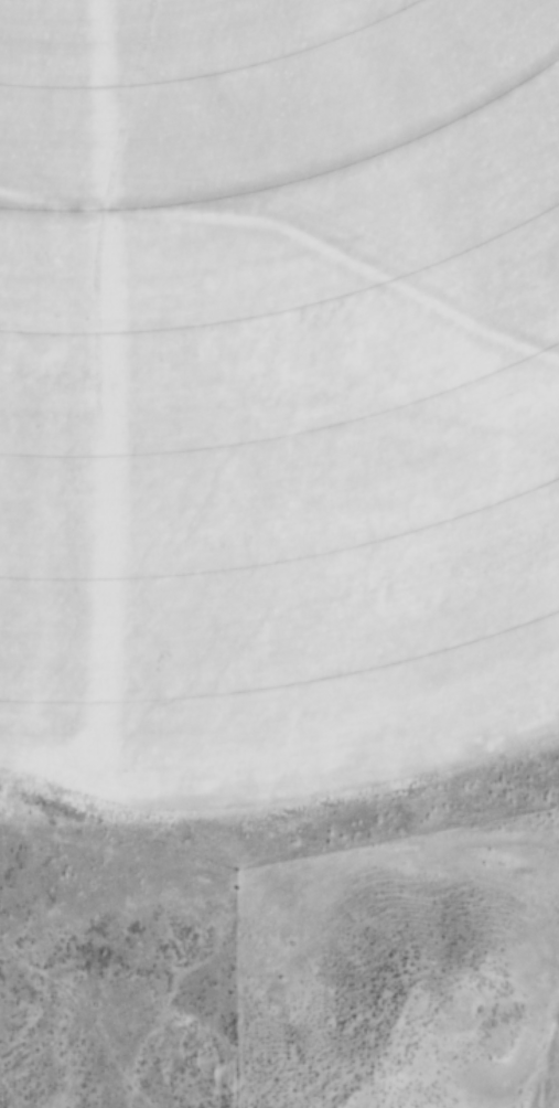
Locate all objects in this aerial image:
road: (276, 869)

